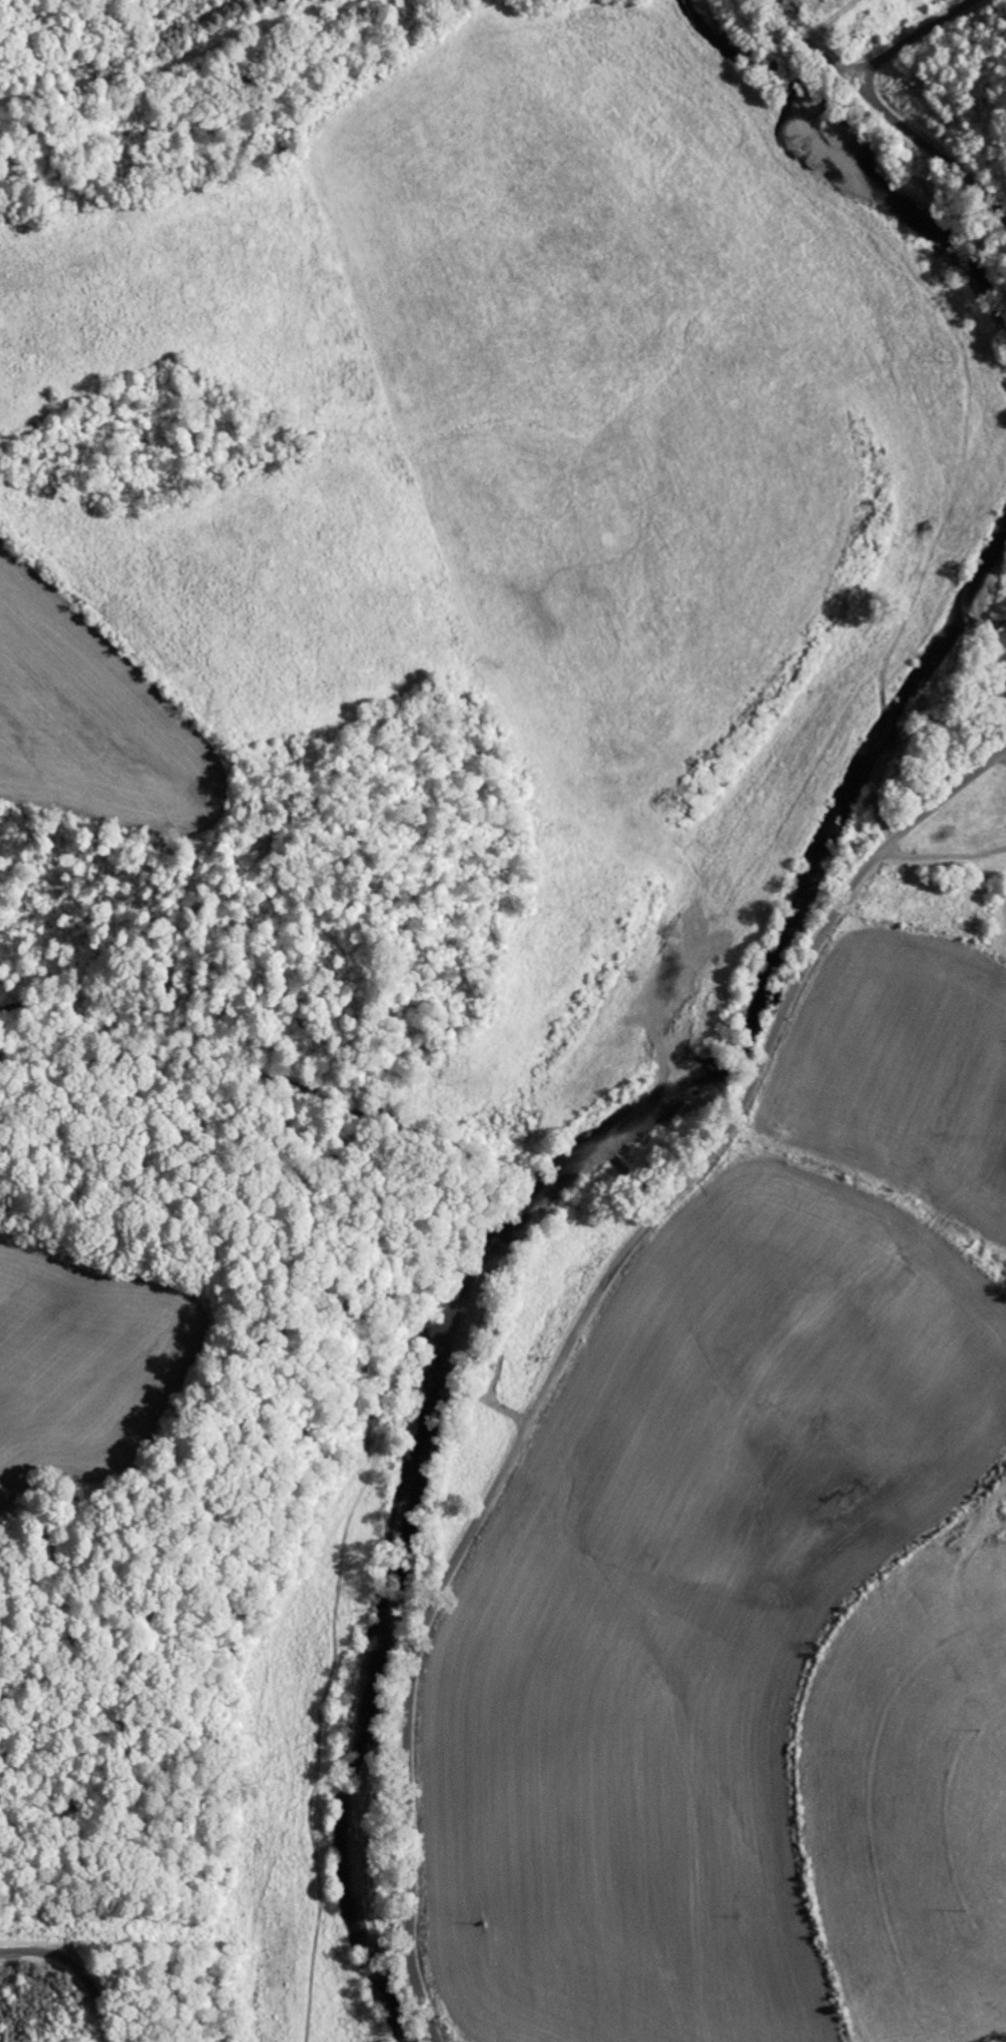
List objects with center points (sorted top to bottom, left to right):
road: (914, 39)
road: (180, 42)
road: (102, 80)
road: (885, 110)
road: (571, 1340)
road: (75, 1971)
road: (468, 2033)

